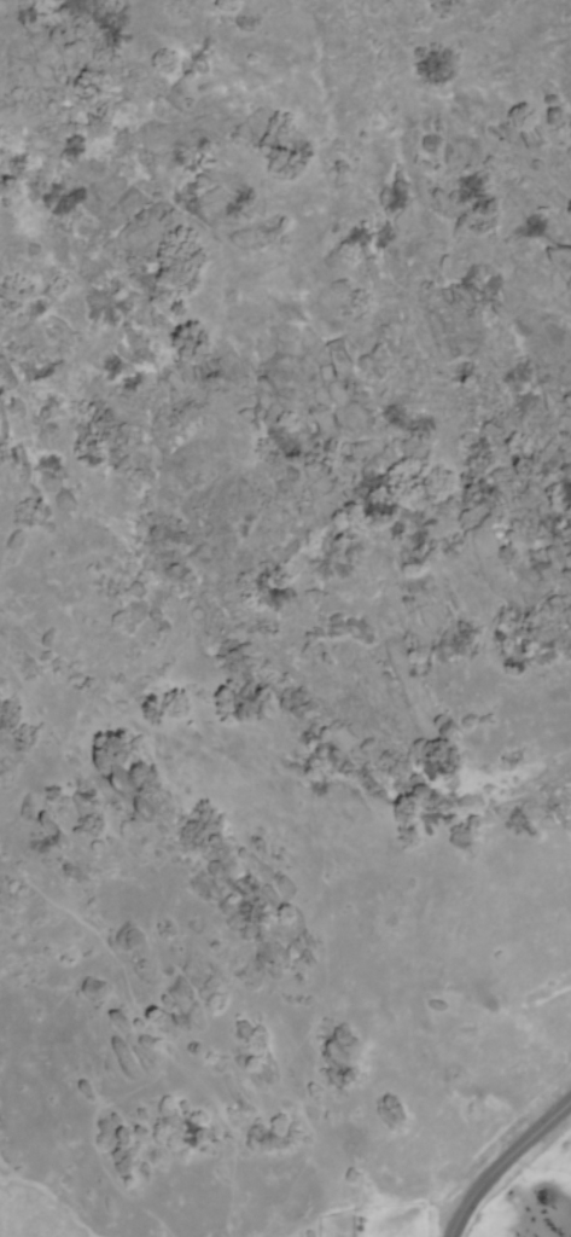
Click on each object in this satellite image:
crop: (501, 1110)
road: (502, 1161)

